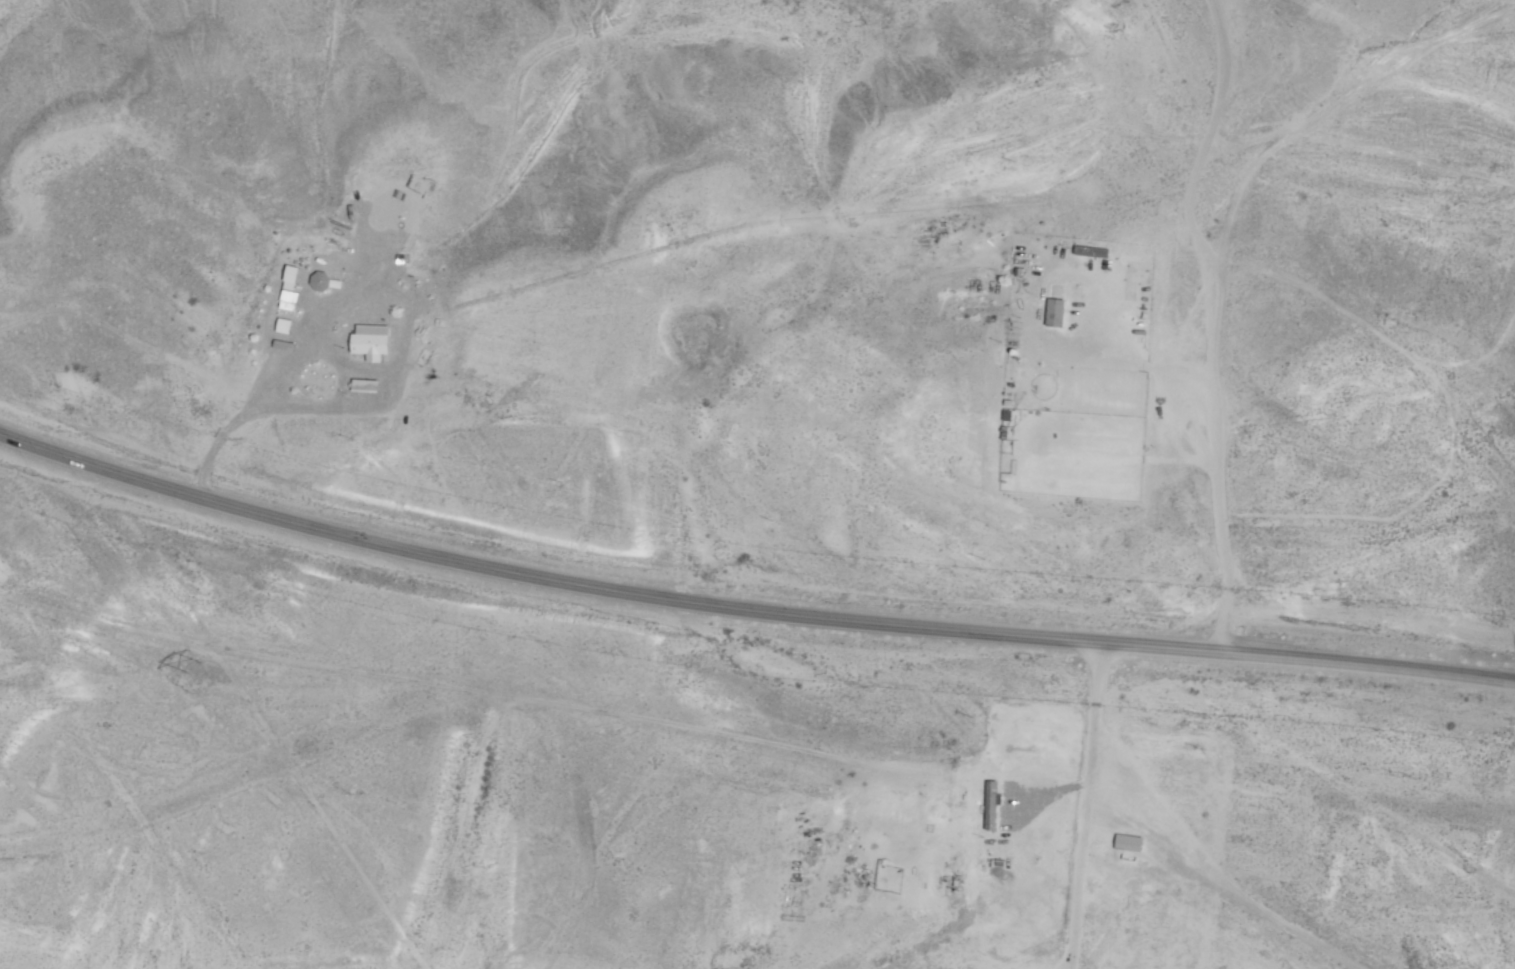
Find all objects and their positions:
road: (1315, 165)
building: (1090, 252)
building: (1055, 312)
road: (1219, 429)
road: (748, 610)
power tower: (195, 664)
road: (543, 697)
building: (991, 799)
road: (1085, 804)
building: (1127, 846)
road: (1200, 856)

